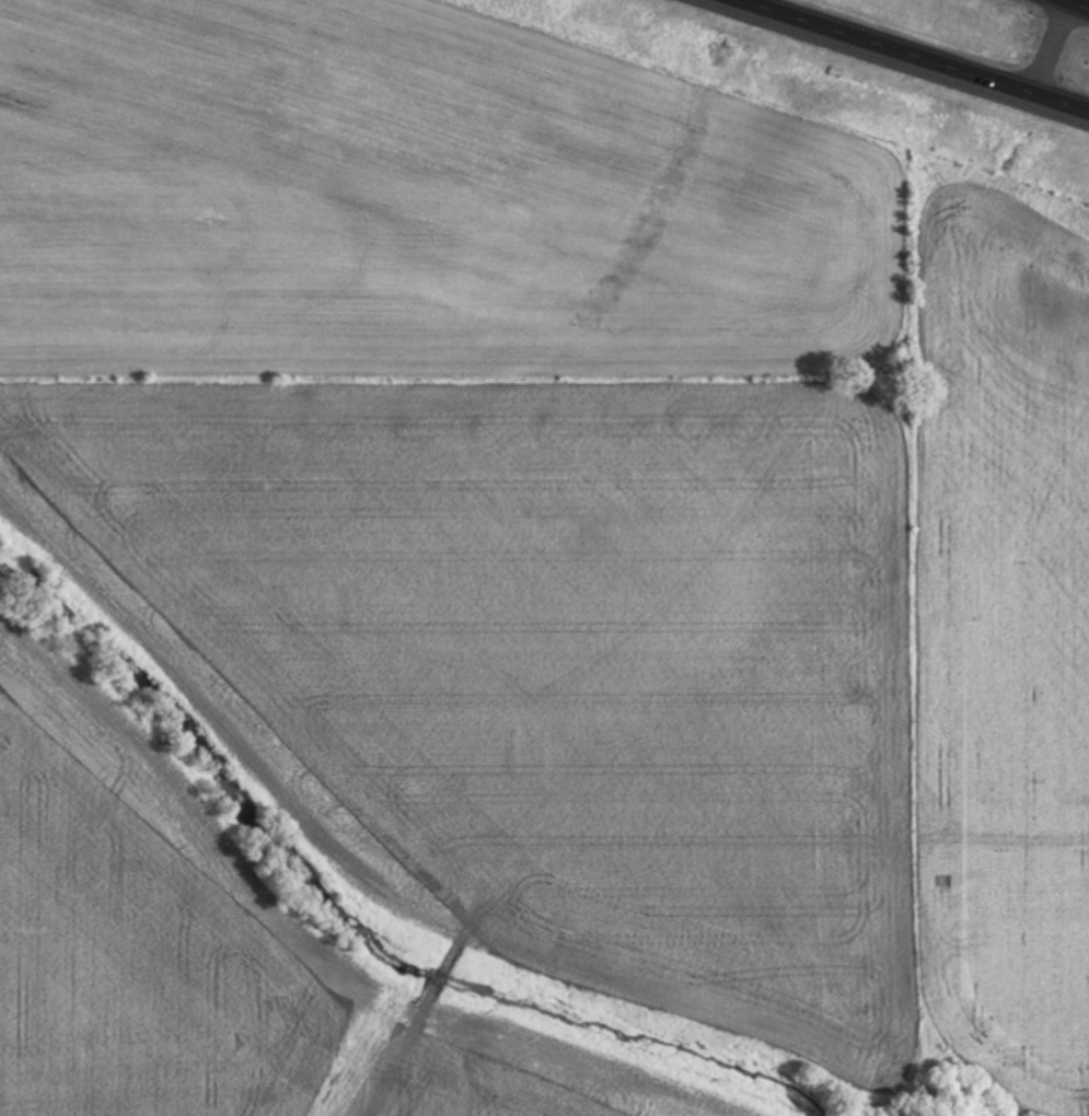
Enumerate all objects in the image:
road: (1075, 4)
road: (1054, 49)
road: (914, 56)
river: (349, 916)

